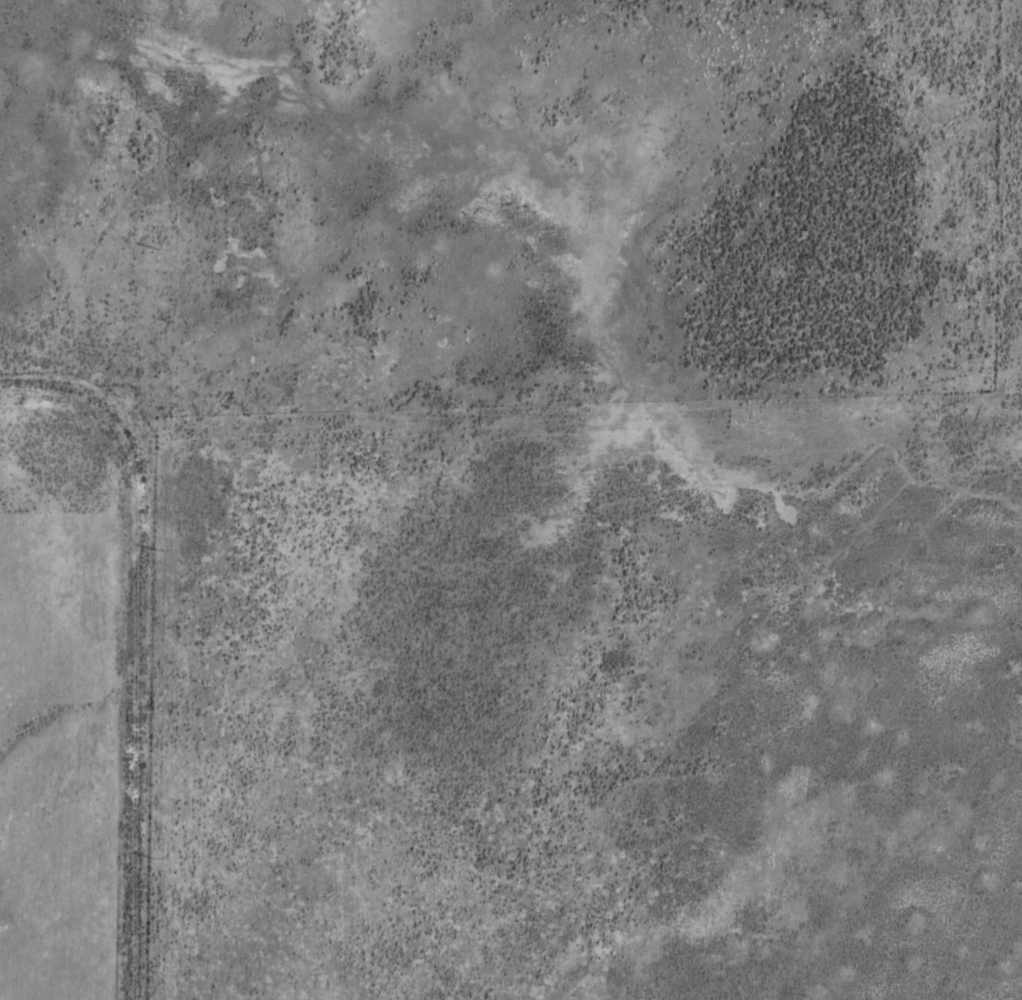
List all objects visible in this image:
crop: (511, 500)
road: (167, 622)

